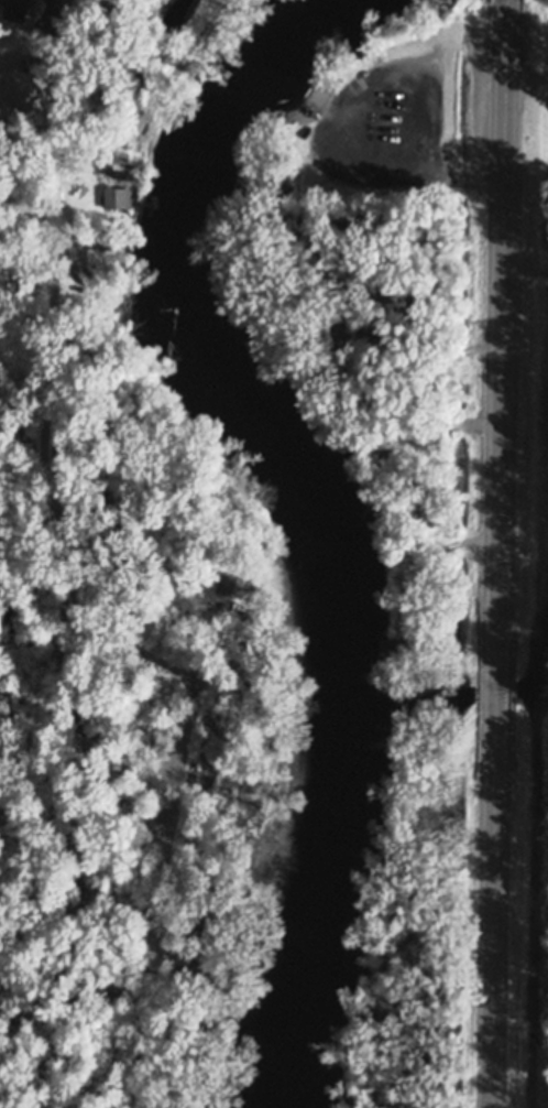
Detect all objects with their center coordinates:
building: (15, 9)
building: (40, 29)
building: (8, 55)
road: (524, 70)
road: (145, 93)
road: (51, 113)
road: (337, 119)
building: (116, 196)
road: (527, 225)
building: (84, 282)
building: (281, 322)
river: (319, 506)
road: (502, 553)
building: (227, 582)
road: (86, 617)
building: (398, 645)
building: (287, 882)
building: (274, 931)

